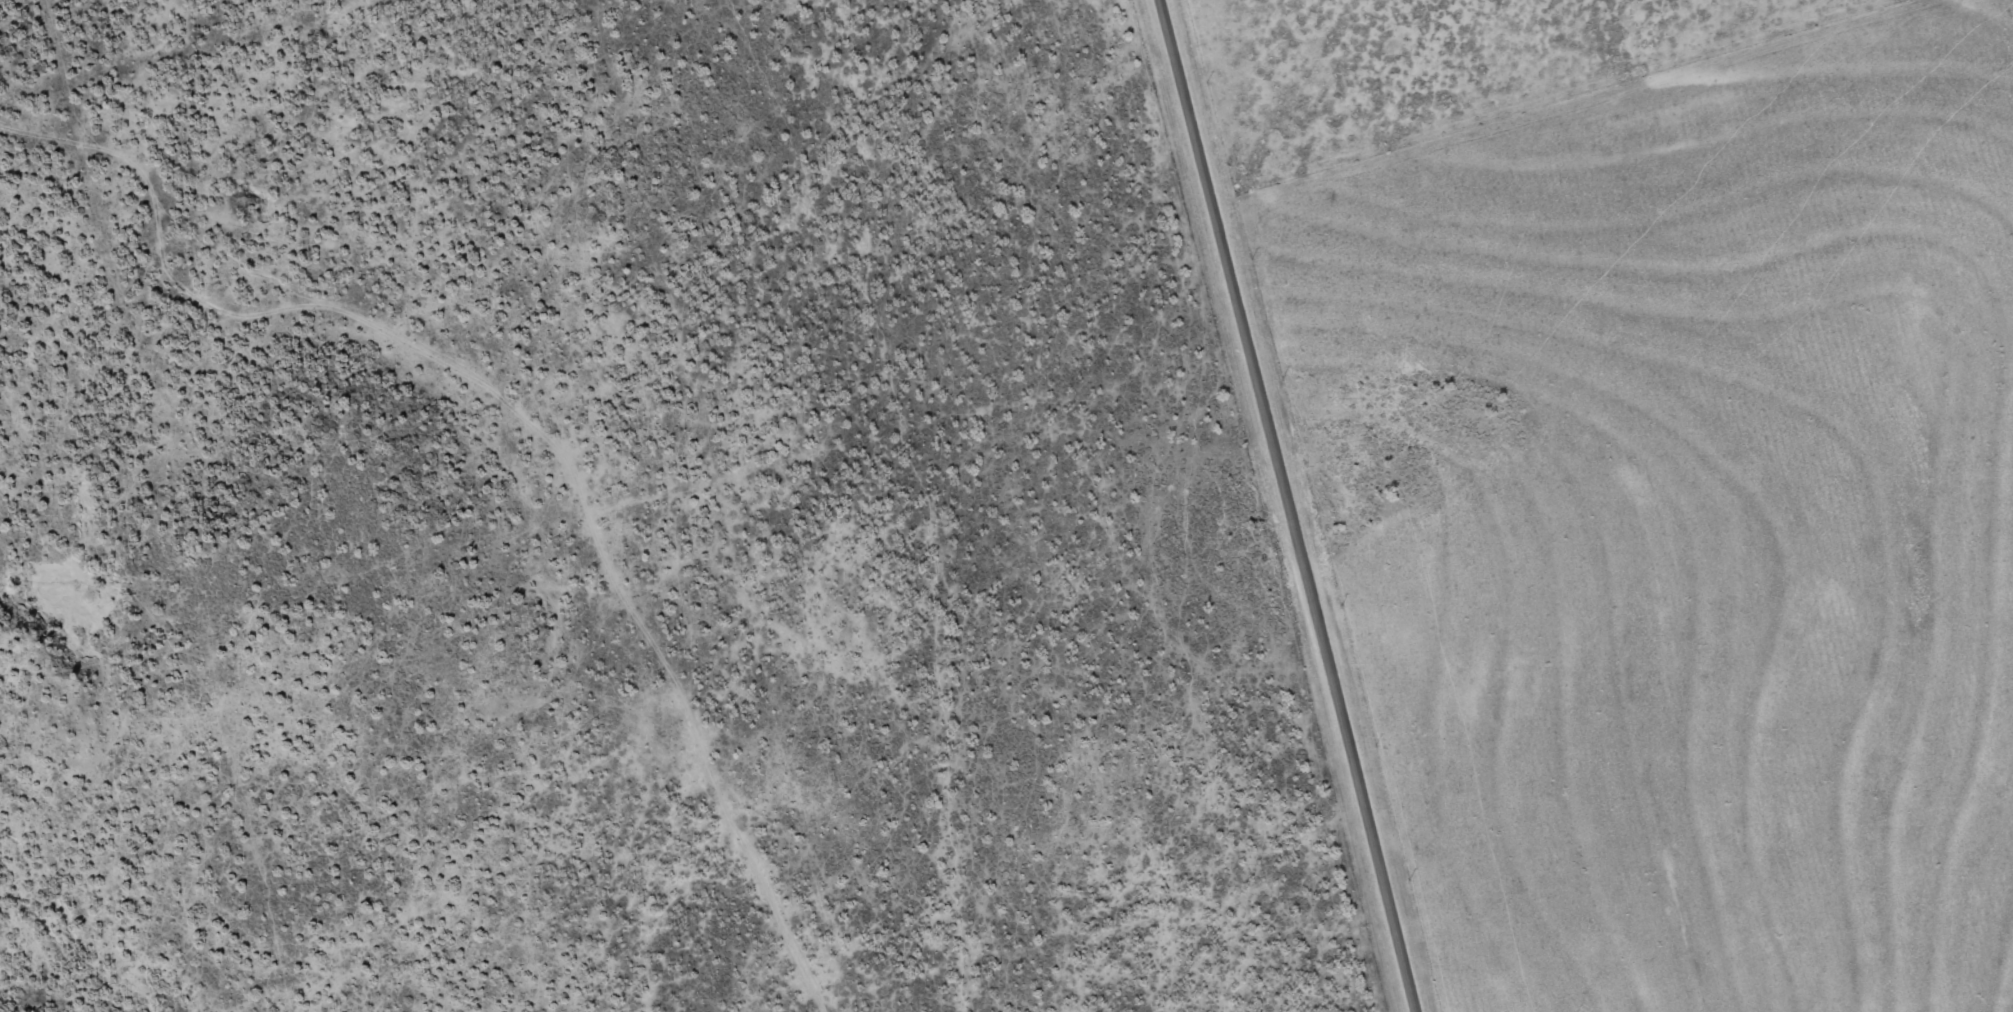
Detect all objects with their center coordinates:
road: (1289, 506)

